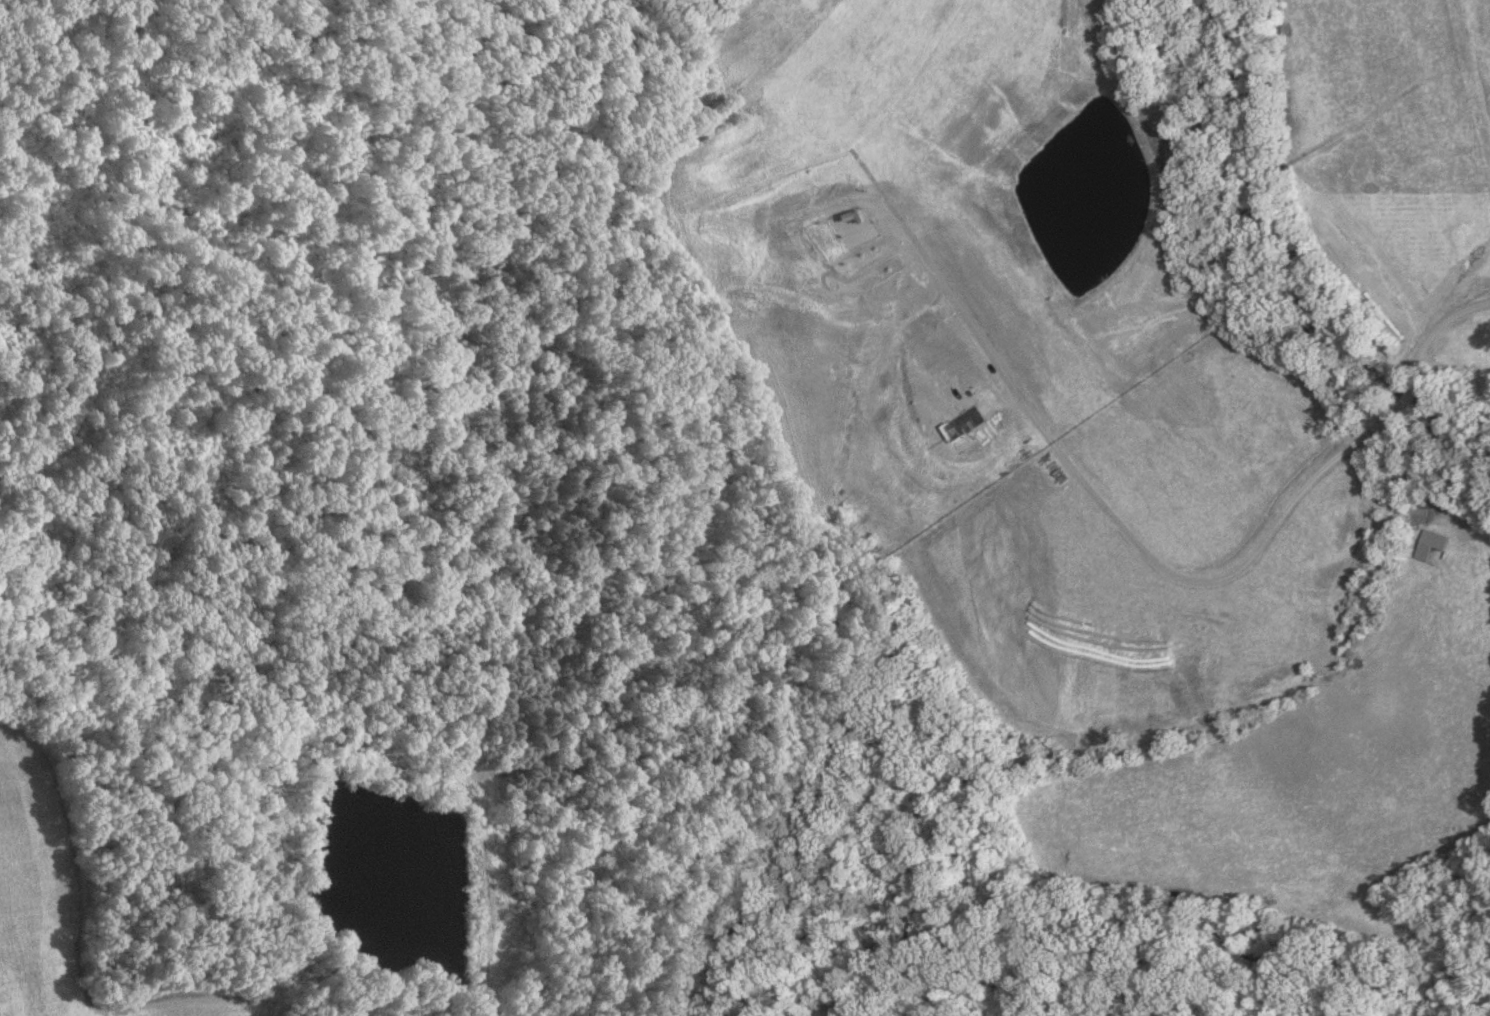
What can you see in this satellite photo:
road: (1290, 503)

